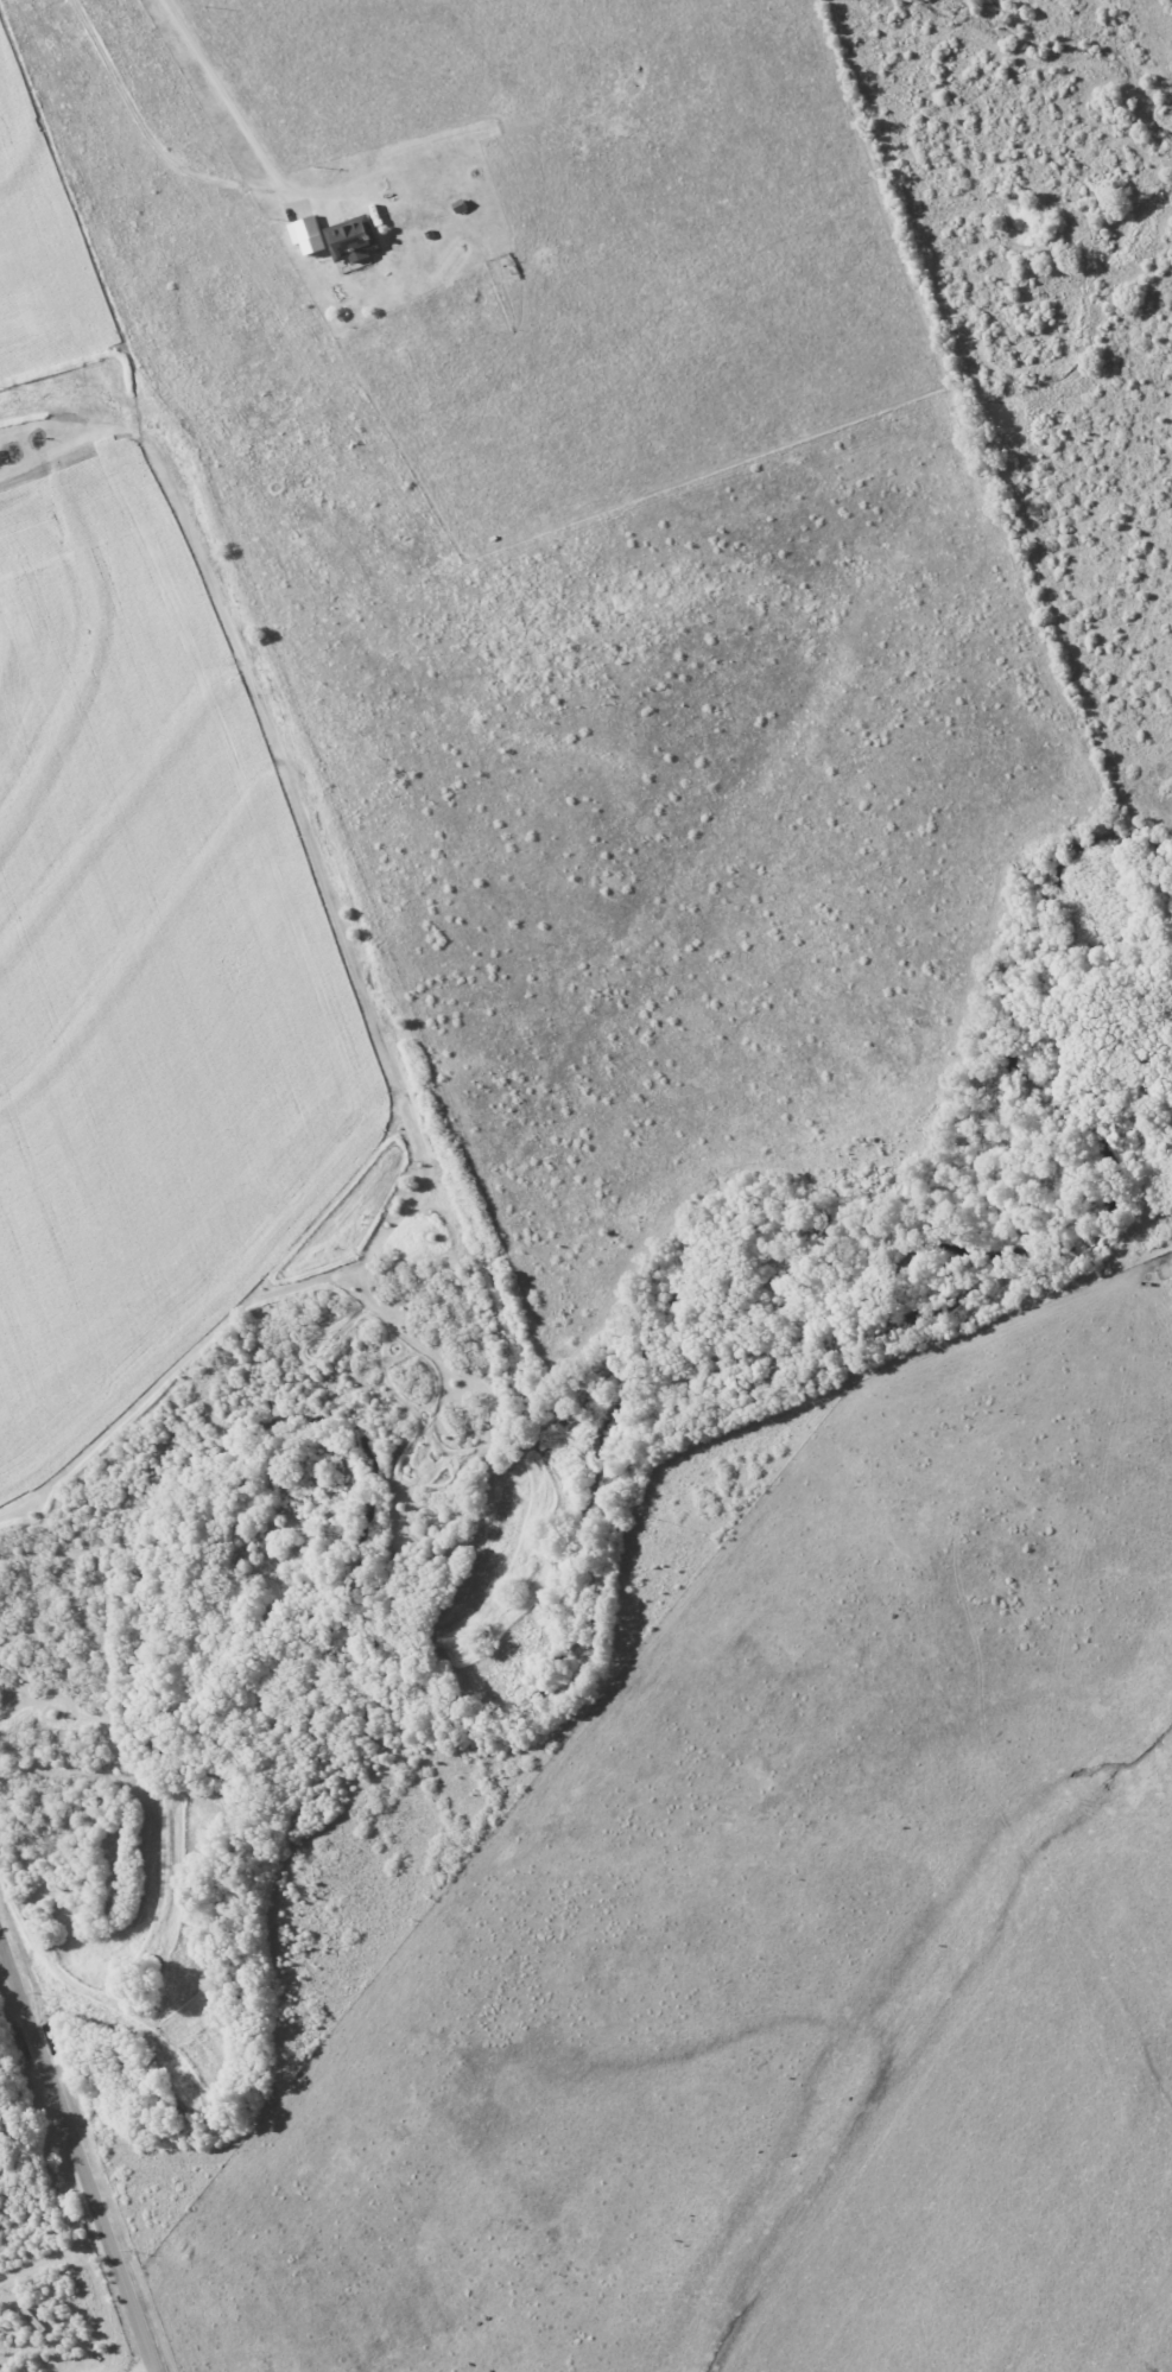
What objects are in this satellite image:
road: (226, 95)
road: (178, 166)
building: (308, 234)
building: (353, 239)
road: (77, 2156)

